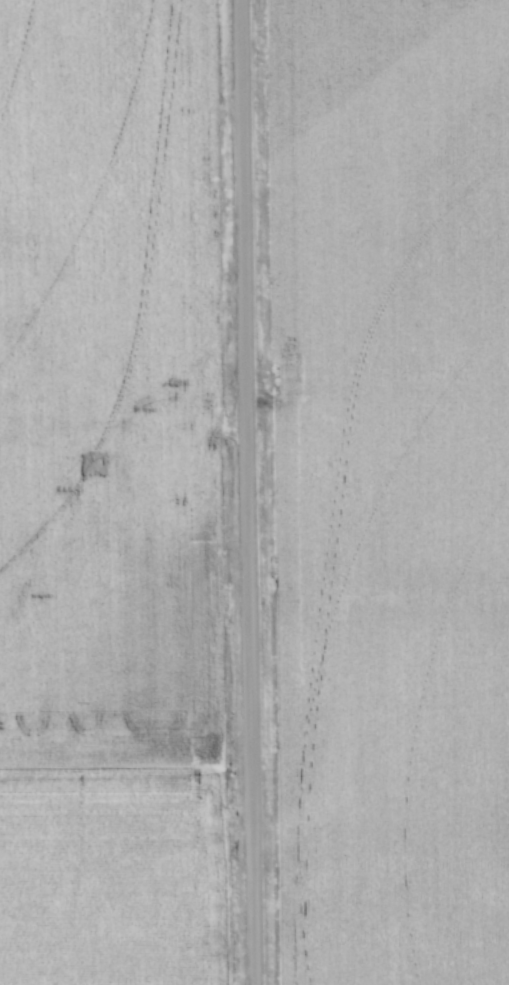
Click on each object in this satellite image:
road: (243, 492)

